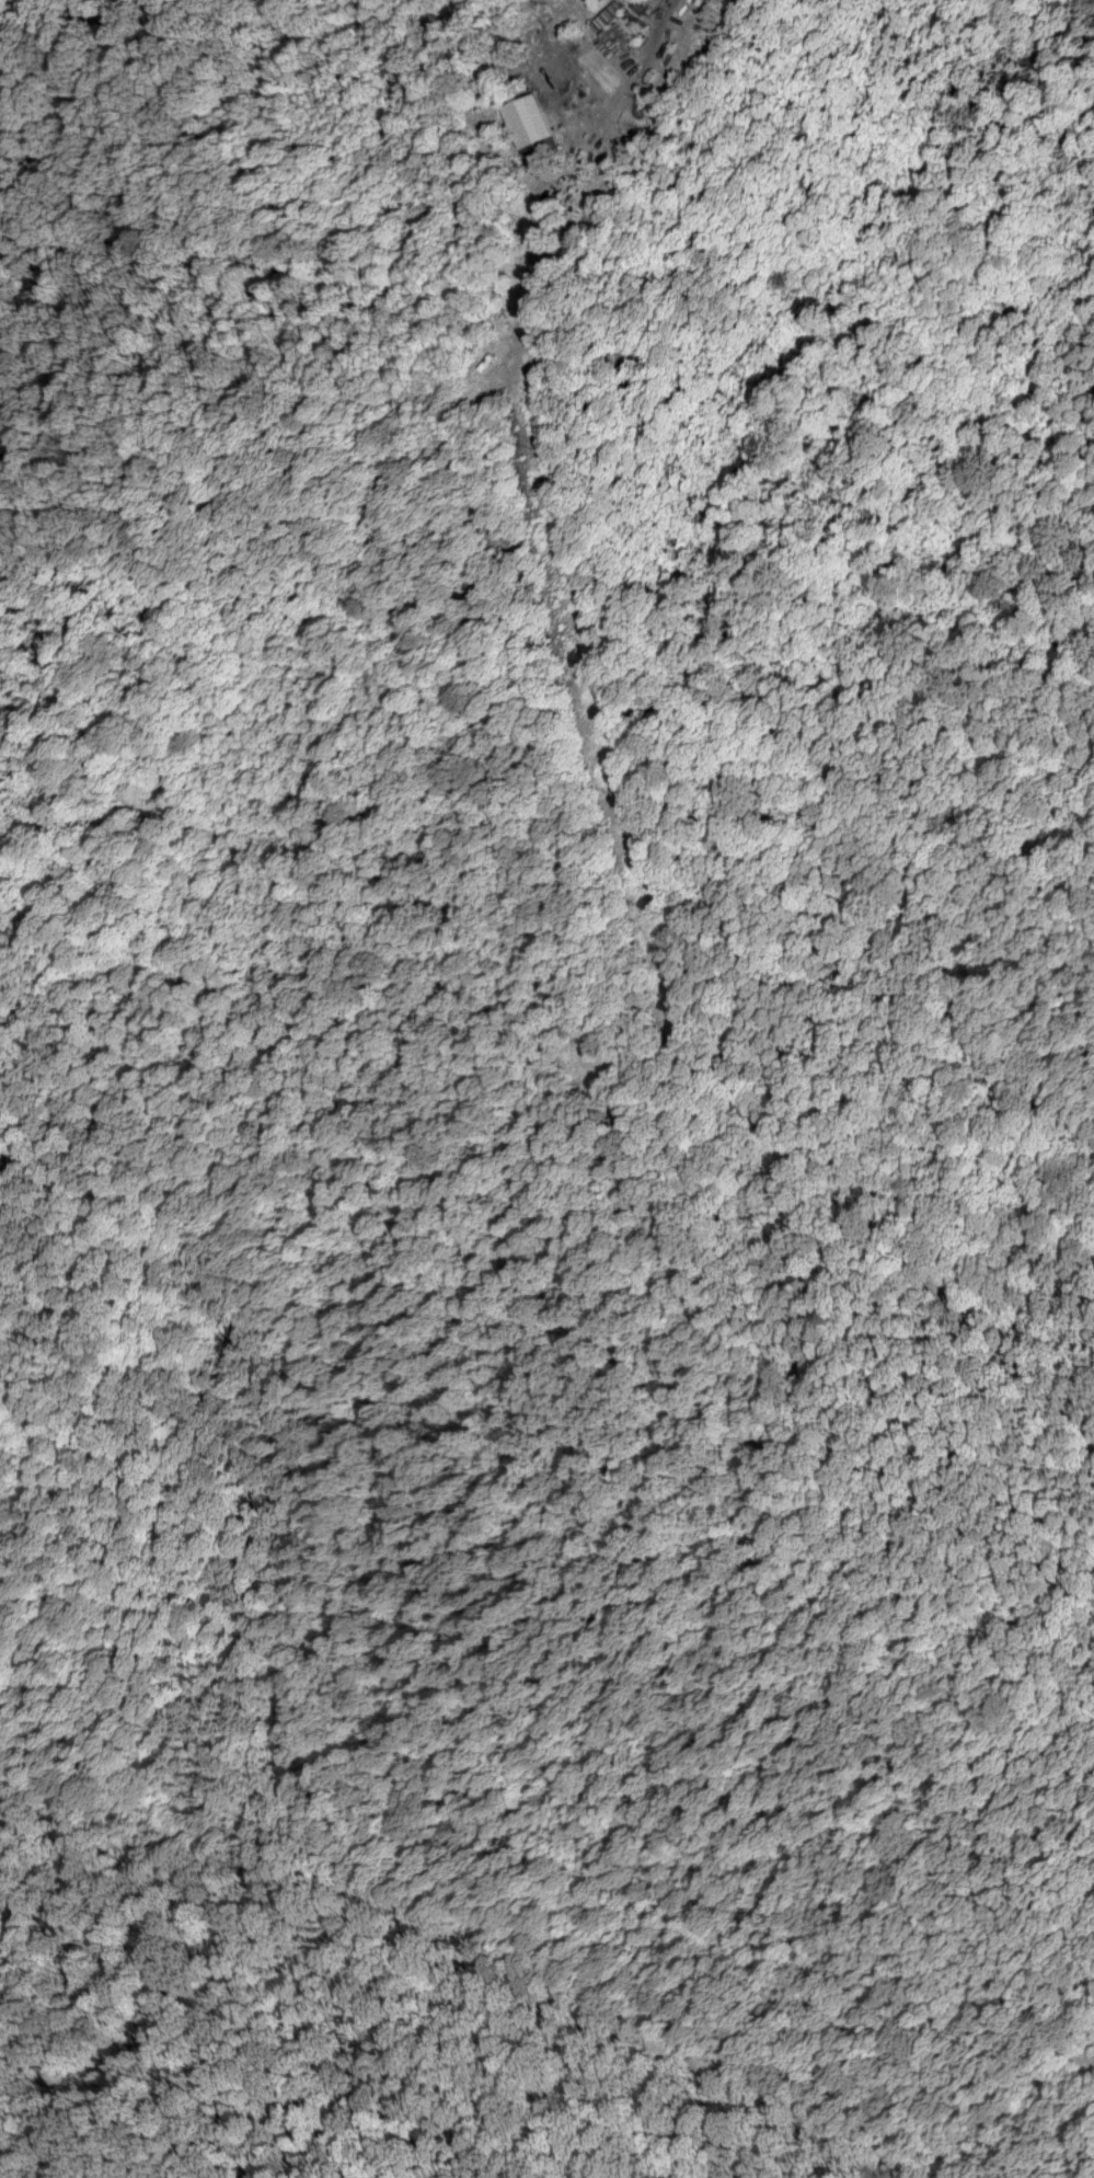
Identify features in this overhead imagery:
building: (533, 125)

